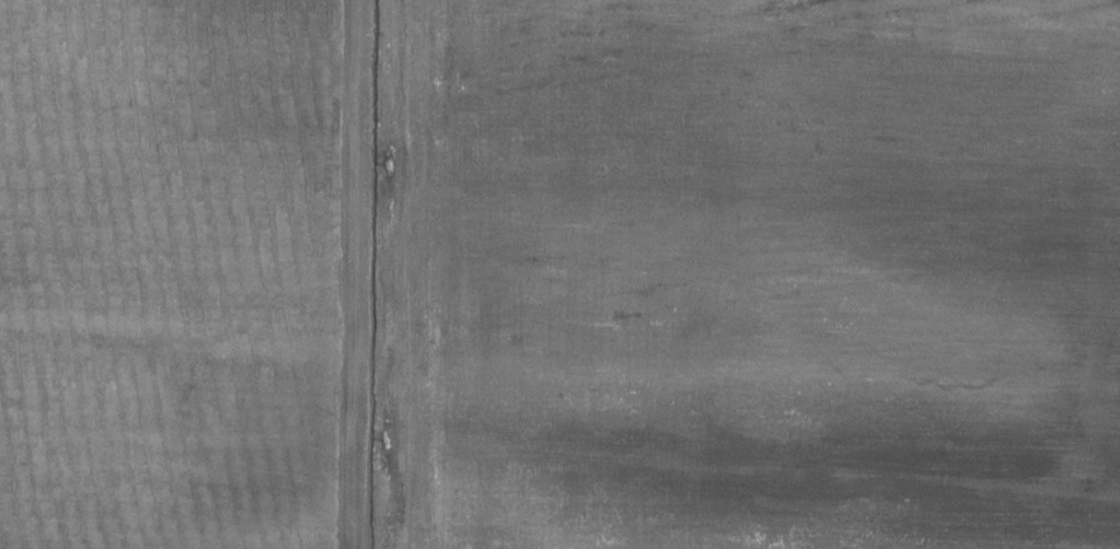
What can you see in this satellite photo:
road: (395, 274)

